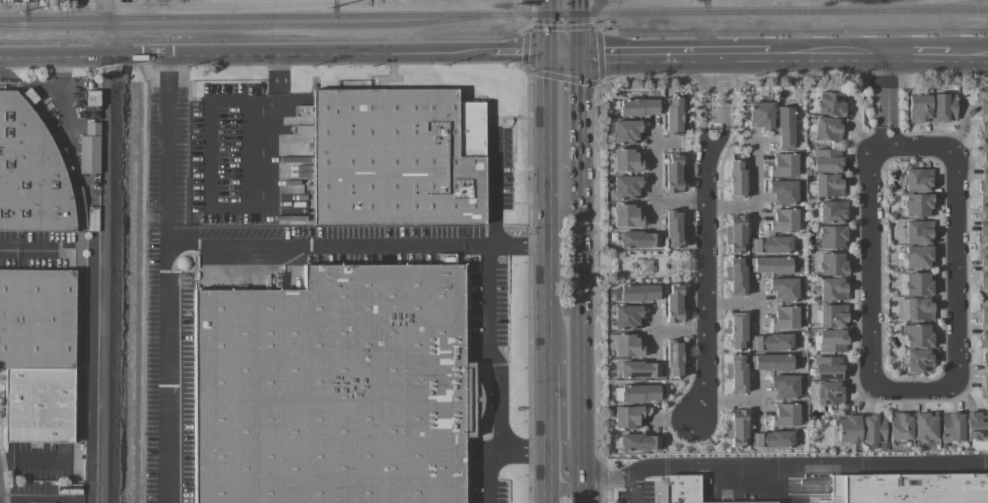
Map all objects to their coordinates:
power tower: (695, 1)
power tower: (20, 12)
railway: (494, 13)
road: (551, 24)
railway: (255, 25)
road: (581, 25)
road: (562, 26)
road: (790, 31)
road: (266, 38)
road: (113, 47)
traffic signals: (551, 49)
road: (362, 50)
traffic signals: (581, 51)
road: (856, 52)
railway: (4, 73)
road: (570, 76)
road: (725, 89)
building: (29, 96)
road: (881, 100)
building: (830, 103)
building: (638, 106)
building: (944, 106)
building: (919, 108)
road: (582, 110)
building: (983, 113)
road: (714, 114)
building: (761, 114)
building: (673, 115)
road: (703, 117)
building: (785, 126)
building: (827, 128)
building: (626, 131)
building: (89, 148)
road: (168, 149)
road: (712, 153)
building: (984, 154)
building: (397, 156)
building: (626, 159)
building: (826, 159)
building: (783, 164)
building: (30, 172)
building: (674, 174)
building: (736, 178)
building: (917, 179)
building: (984, 179)
building: (828, 184)
building: (626, 186)
road: (495, 187)
road: (653, 188)
building: (784, 191)
road: (756, 196)
building: (918, 204)
road: (231, 205)
building: (984, 206)
building: (832, 211)
building: (626, 215)
building: (783, 220)
building: (674, 227)
road: (953, 227)
building: (918, 231)
building: (983, 231)
building: (736, 233)
building: (832, 236)
building: (638, 239)
road: (229, 244)
building: (770, 244)
road: (35, 249)
railway: (79, 249)
building: (918, 256)
building: (983, 258)
building: (833, 263)
building: (771, 264)
building: (736, 275)
road: (551, 276)
building: (915, 283)
building: (983, 283)
building: (832, 288)
building: (787, 289)
building: (635, 292)
road: (706, 297)
building: (674, 302)
road: (744, 303)
building: (914, 308)
road: (872, 309)
building: (833, 315)
building: (627, 316)
building: (784, 317)
building: (983, 323)
road: (583, 324)
building: (737, 330)
building: (918, 335)
building: (832, 340)
building: (771, 341)
building: (624, 345)
building: (38, 353)
building: (673, 358)
building: (917, 360)
building: (772, 361)
building: (985, 362)
building: (828, 367)
building: (639, 369)
building: (737, 372)
road: (501, 375)
building: (784, 386)
building: (984, 387)
building: (334, 388)
building: (638, 392)
building: (825, 392)
road: (738, 402)
building: (784, 414)
building: (627, 416)
road: (558, 423)
building: (925, 425)
building: (976, 425)
building: (737, 426)
building: (899, 426)
building: (951, 426)
building: (848, 428)
building: (873, 428)
building: (771, 439)
building: (638, 442)
road: (526, 447)
road: (33, 461)
road: (810, 463)
road: (608, 476)
road: (633, 487)
building: (916, 488)
building: (681, 489)
road: (584, 491)
parking lot: (639, 492)

